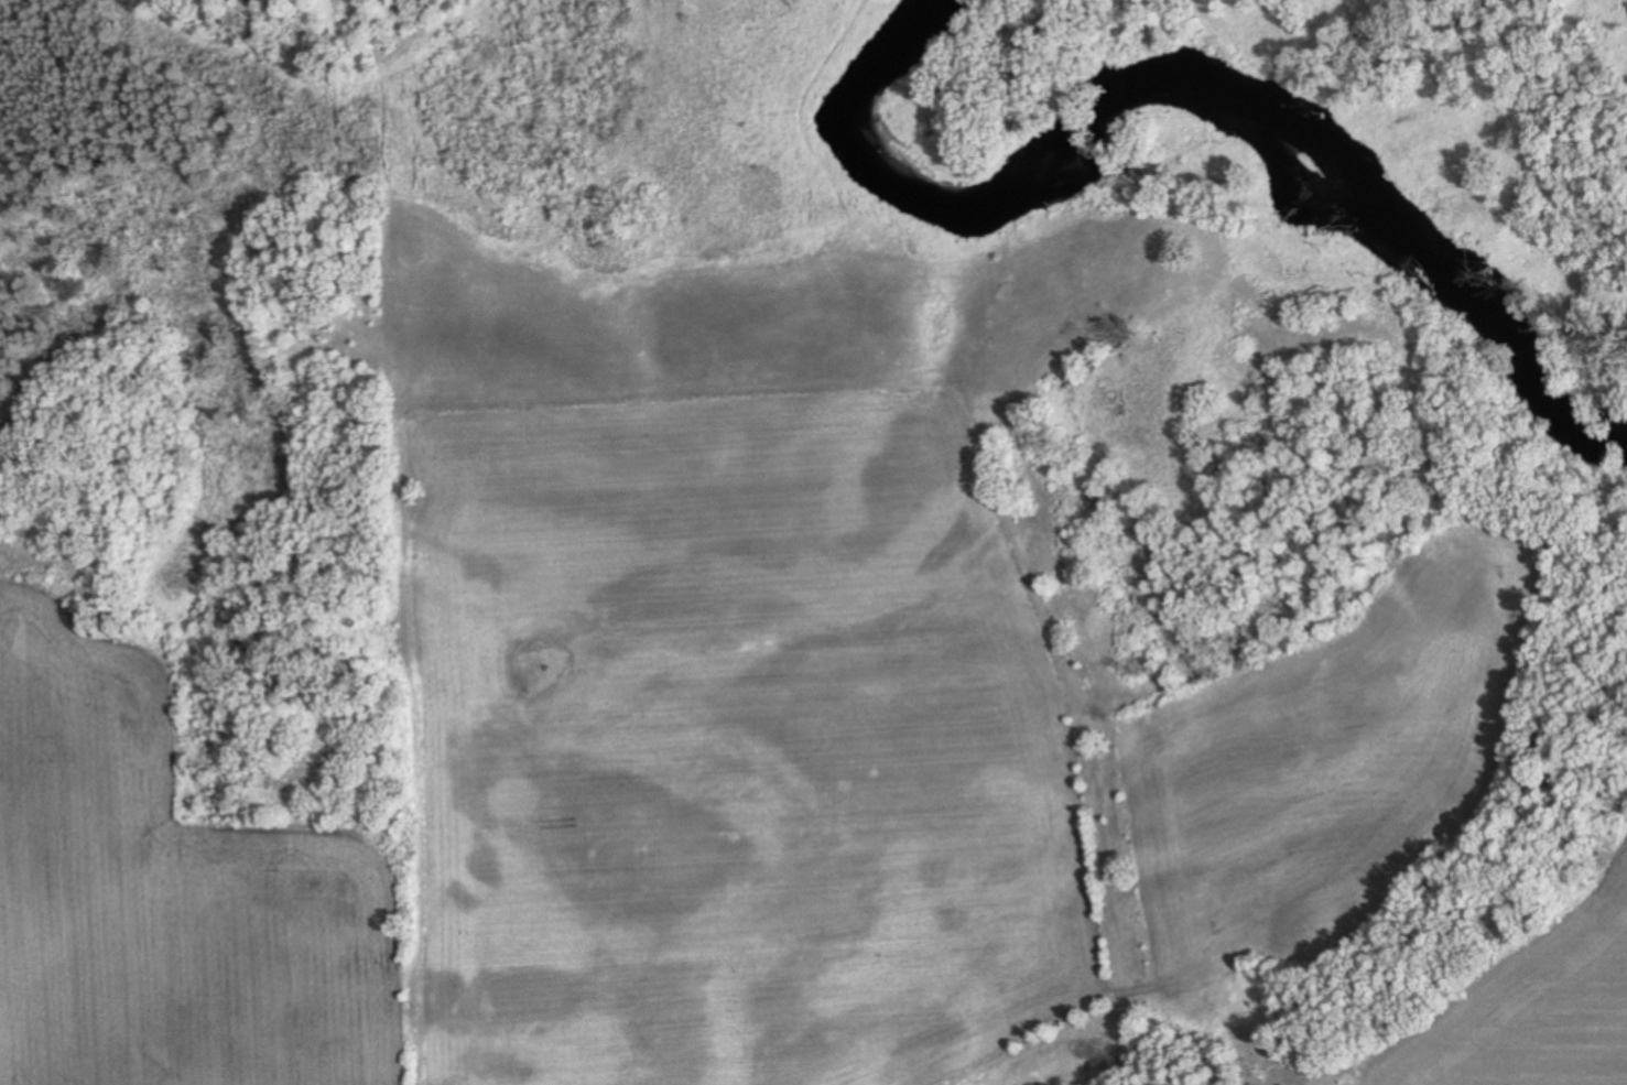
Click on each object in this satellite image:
river: (1225, 111)

